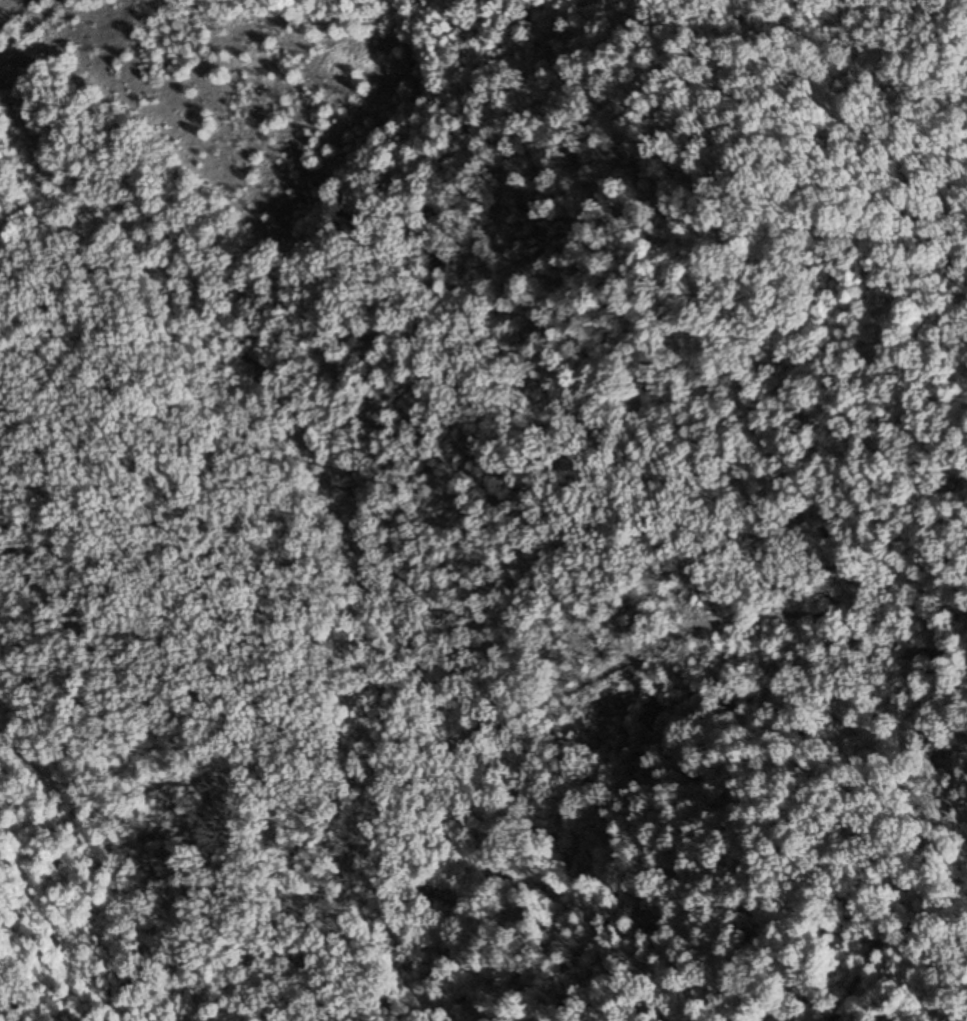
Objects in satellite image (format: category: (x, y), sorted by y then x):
road: (17, 13)

